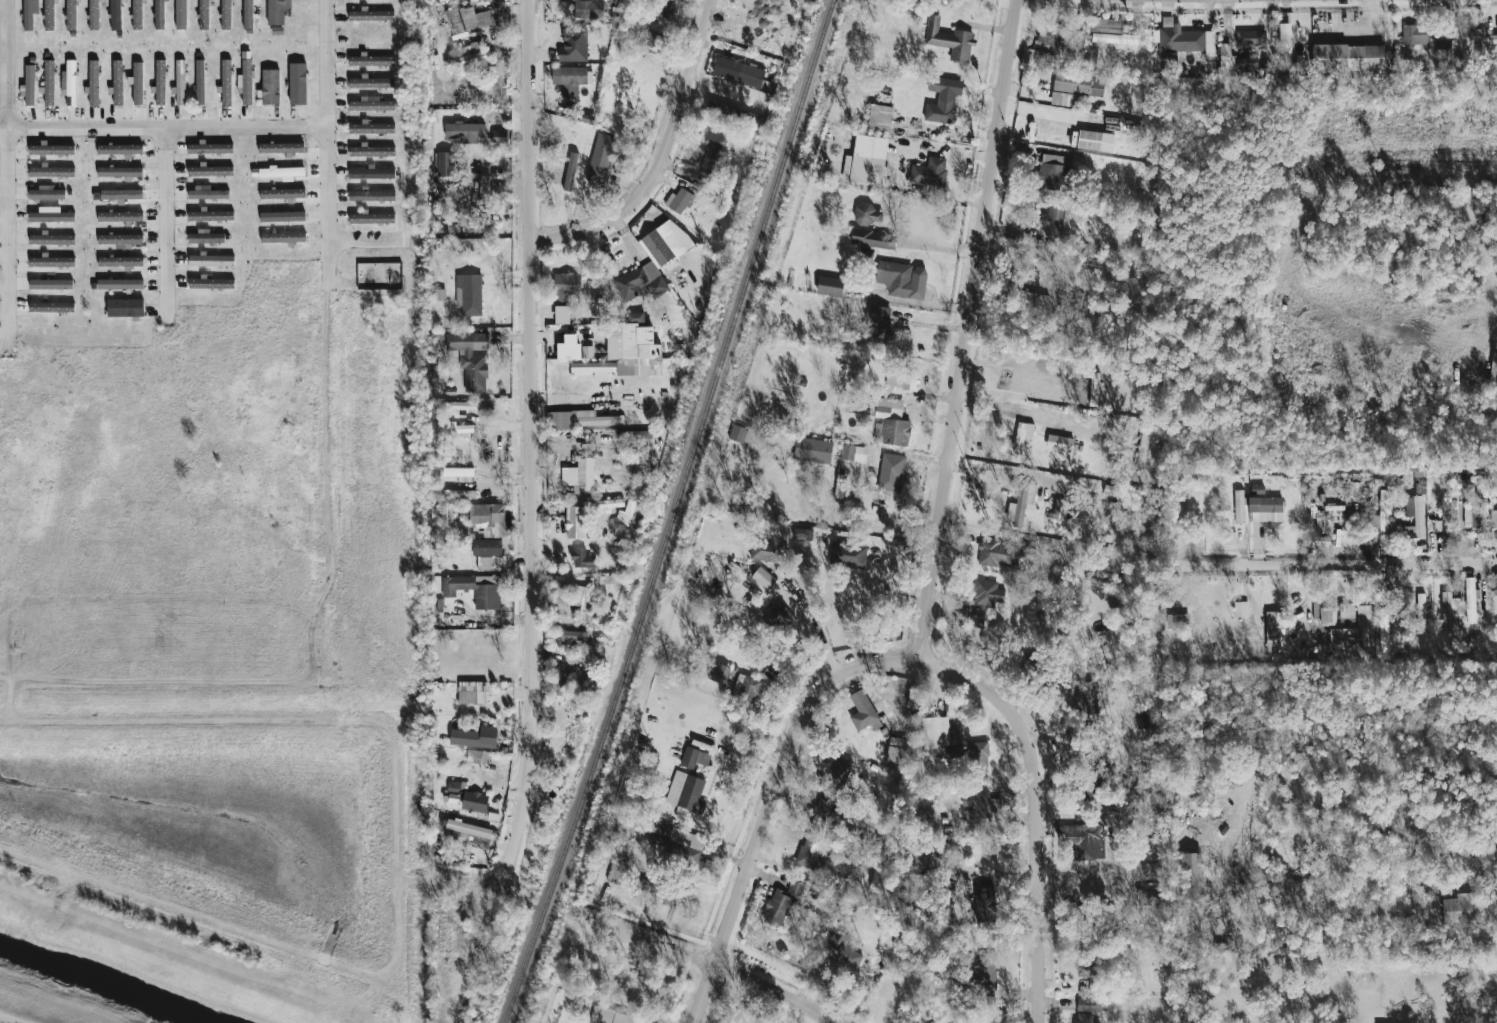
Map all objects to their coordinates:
building: (656, 6)
building: (590, 8)
building: (277, 11)
building: (248, 13)
building: (94, 14)
building: (115, 14)
building: (137, 14)
building: (159, 14)
building: (181, 14)
building: (204, 14)
building: (226, 14)
building: (370, 14)
building: (28, 15)
building: (50, 15)
building: (71, 15)
building: (466, 19)
building: (633, 23)
building: (1106, 25)
building: (1045, 34)
building: (1415, 34)
building: (1251, 37)
building: (1481, 37)
building: (1115, 38)
building: (1184, 38)
building: (650, 41)
building: (951, 41)
building: (1442, 43)
building: (476, 44)
building: (574, 44)
building: (1090, 53)
building: (1348, 57)
building: (370, 60)
building: (465, 60)
building: (1227, 61)
building: (1170, 62)
building: (739, 71)
building: (245, 78)
building: (69, 80)
building: (569, 80)
building: (160, 81)
building: (200, 81)
building: (226, 81)
building: (49, 82)
building: (93, 82)
building: (117, 82)
building: (137, 82)
building: (297, 82)
building: (370, 82)
building: (180, 83)
building: (29, 85)
building: (269, 86)
building: (1074, 87)
building: (452, 89)
building: (941, 100)
building: (372, 104)
building: (730, 111)
building: (880, 117)
building: (371, 127)
building: (467, 128)
road: (164, 129)
building: (499, 139)
building: (1095, 140)
road: (328, 145)
building: (281, 147)
building: (210, 148)
building: (51, 149)
building: (119, 149)
building: (371, 150)
building: (601, 158)
building: (709, 159)
building: (866, 160)
road: (663, 161)
building: (446, 164)
building: (210, 170)
building: (52, 171)
building: (120, 171)
building: (570, 171)
building: (279, 172)
building: (372, 172)
building: (931, 172)
building: (1051, 172)
road: (6, 177)
building: (499, 190)
building: (46, 193)
building: (207, 193)
building: (282, 193)
building: (122, 194)
building: (371, 194)
building: (485, 198)
building: (682, 201)
building: (867, 214)
building: (51, 215)
building: (211, 215)
building: (120, 216)
building: (282, 216)
building: (372, 217)
building: (1053, 221)
road: (165, 226)
road: (374, 235)
building: (208, 236)
building: (862, 236)
building: (283, 237)
building: (51, 239)
building: (120, 239)
building: (658, 247)
building: (212, 260)
building: (52, 261)
building: (120, 261)
building: (896, 278)
building: (637, 279)
building: (211, 283)
building: (51, 284)
building: (119, 284)
building: (830, 287)
building: (565, 288)
building: (469, 293)
building: (439, 294)
building: (1034, 296)
building: (51, 306)
building: (125, 307)
building: (562, 314)
building: (877, 324)
road: (965, 330)
road: (568, 332)
building: (905, 339)
building: (569, 347)
building: (641, 348)
building: (587, 351)
building: (471, 358)
building: (594, 367)
building: (1494, 369)
building: (903, 379)
building: (463, 405)
building: (581, 419)
building: (459, 427)
building: (893, 431)
building: (737, 433)
building: (636, 434)
building: (1022, 436)
building: (592, 437)
road: (529, 442)
building: (1060, 443)
building: (1142, 449)
building: (814, 450)
building: (477, 452)
building: (854, 453)
building: (892, 472)
building: (460, 473)
building: (583, 476)
building: (1420, 485)
building: (1257, 489)
building: (1351, 489)
building: (1121, 491)
building: (458, 493)
building: (610, 503)
building: (1021, 504)
building: (1239, 506)
building: (1266, 508)
building: (1060, 509)
building: (629, 512)
building: (1383, 512)
railway: (672, 513)
building: (1471, 516)
building: (570, 517)
building: (1493, 518)
building: (493, 520)
building: (1419, 521)
building: (802, 533)
building: (614, 541)
building: (999, 548)
building: (768, 550)
building: (489, 554)
building: (848, 554)
building: (582, 557)
road: (1342, 563)
building: (764, 578)
building: (606, 579)
building: (558, 582)
building: (1494, 583)
road: (1184, 585)
building: (475, 589)
building: (987, 594)
building: (580, 597)
building: (1471, 599)
building: (1421, 607)
building: (1241, 608)
building: (1347, 610)
building: (1450, 610)
building: (1328, 616)
building: (779, 619)
building: (1178, 620)
building: (1384, 622)
building: (1356, 629)
building: (1275, 631)
road: (810, 634)
building: (572, 637)
building: (719, 673)
building: (560, 687)
building: (748, 689)
building: (1087, 696)
building: (473, 697)
building: (913, 699)
building: (864, 717)
building: (1142, 718)
building: (936, 732)
building: (470, 740)
building: (897, 751)
building: (978, 754)
building: (481, 757)
building: (690, 757)
building: (703, 760)
building: (838, 772)
road: (778, 774)
building: (1133, 785)
building: (454, 788)
building: (682, 789)
building: (451, 797)
building: (475, 801)
building: (922, 804)
building: (980, 806)
road: (1034, 811)
building: (828, 818)
building: (469, 832)
building: (1084, 840)
building: (679, 842)
building: (811, 851)
building: (919, 851)
building: (618, 870)
road: (996, 870)
building: (1192, 878)
road: (463, 880)
building: (661, 889)
building: (1148, 896)
building: (781, 903)
building: (985, 905)
building: (1467, 908)
road: (659, 945)
building: (1220, 947)
building: (987, 970)
building: (1092, 975)
road: (773, 989)
river: (86, 992)
road: (702, 993)
building: (1090, 1005)
building: (610, 1016)
building: (1084, 1018)
building: (954, 1021)

